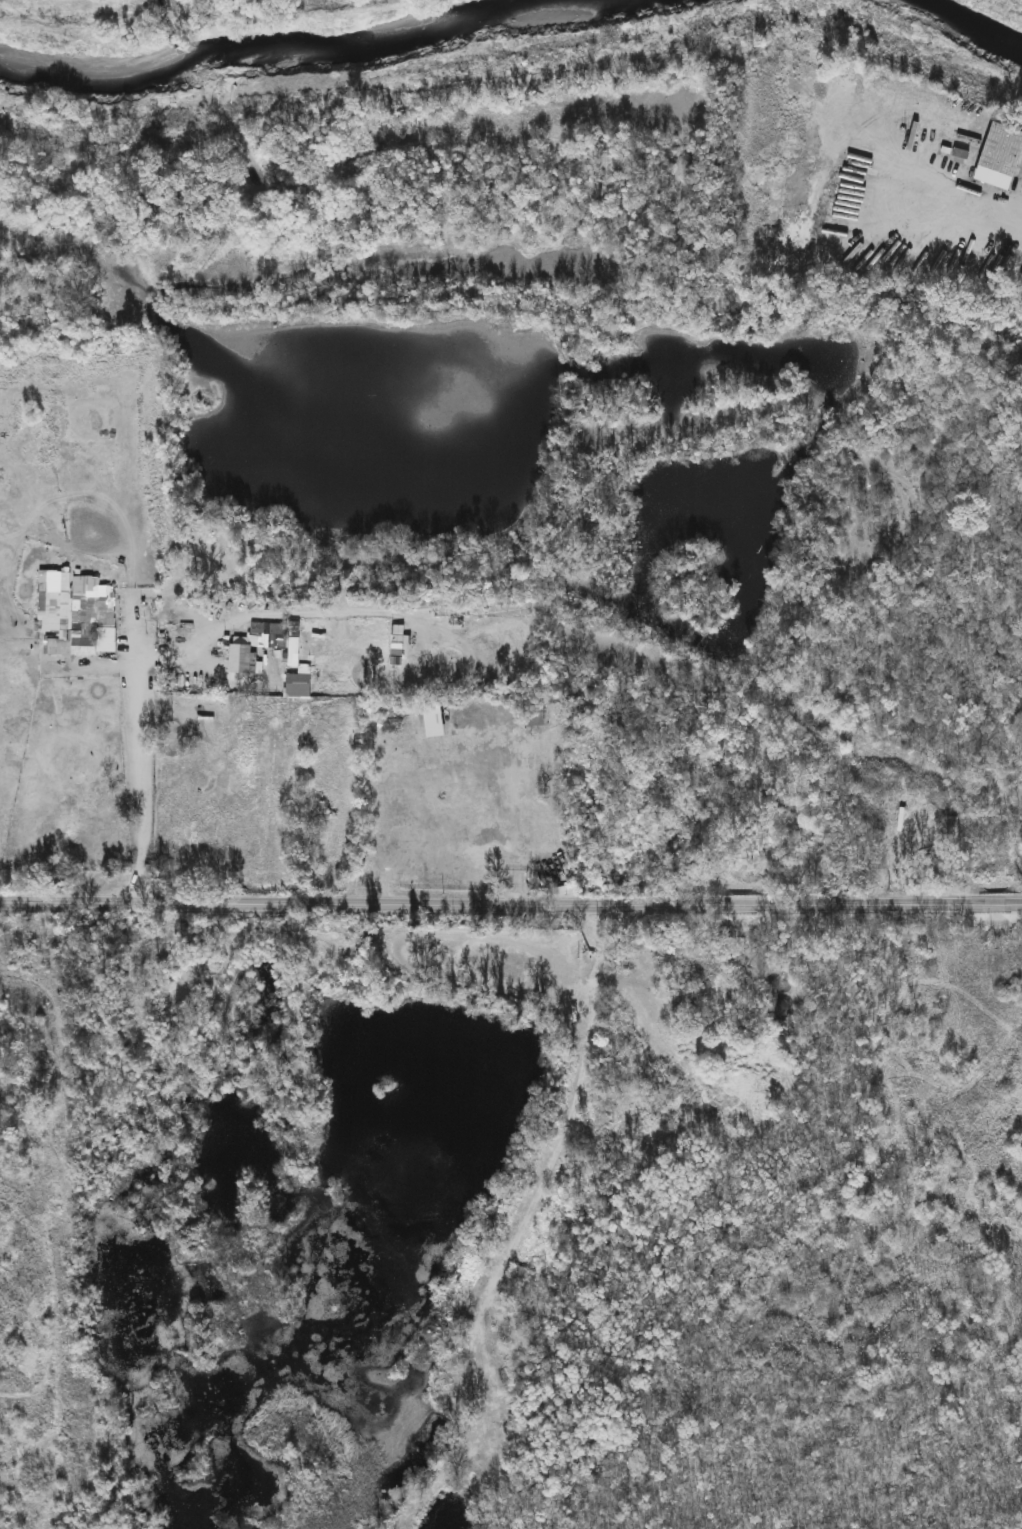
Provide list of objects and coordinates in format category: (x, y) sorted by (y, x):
building: (1003, 156)
road: (985, 216)
building: (73, 623)
building: (397, 642)
building: (258, 645)
building: (435, 721)
road: (138, 757)
road: (510, 905)
building: (673, 958)
building: (622, 1018)
building: (619, 1062)
building: (540, 1229)
building: (524, 1274)
building: (496, 1341)
building: (491, 1391)

